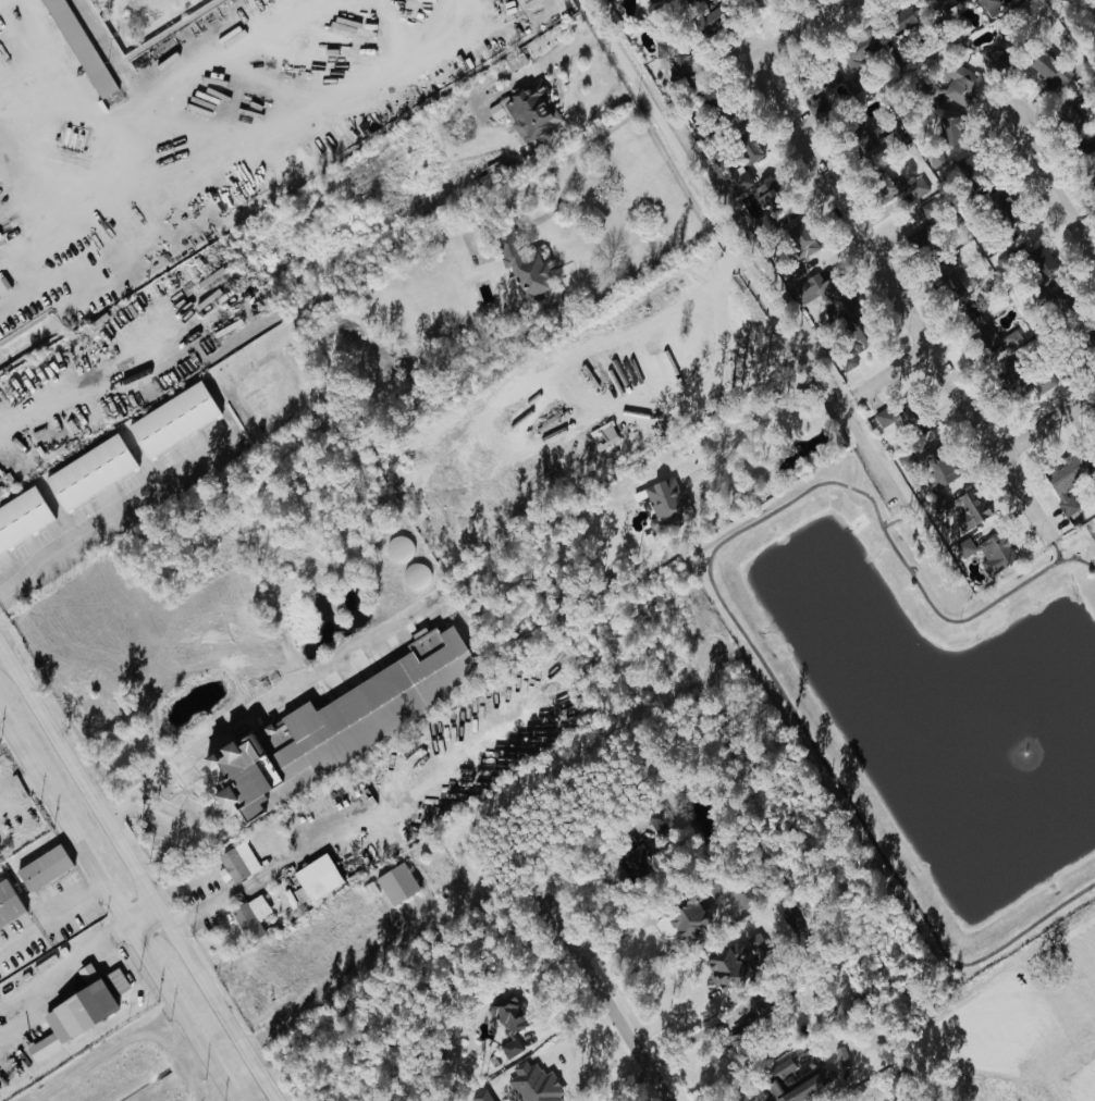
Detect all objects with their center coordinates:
building: (651, 1)
building: (946, 4)
building: (989, 7)
building: (899, 21)
road: (797, 30)
building: (76, 48)
building: (853, 54)
building: (673, 57)
building: (991, 60)
building: (1046, 67)
road: (635, 81)
building: (816, 83)
building: (958, 86)
building: (814, 107)
building: (530, 111)
building: (1069, 122)
building: (942, 139)
building: (861, 140)
building: (741, 169)
road: (575, 182)
building: (886, 182)
building: (918, 185)
road: (1053, 186)
building: (762, 193)
road: (49, 194)
building: (798, 240)
building: (1038, 261)
building: (520, 269)
building: (825, 295)
road: (775, 305)
road: (902, 306)
building: (989, 336)
building: (1022, 378)
road: (897, 380)
road: (766, 419)
building: (170, 420)
road: (1047, 421)
building: (605, 435)
road: (875, 456)
building: (925, 470)
building: (87, 473)
building: (1065, 482)
road: (895, 490)
building: (665, 503)
building: (937, 503)
building: (971, 506)
building: (21, 518)
road: (96, 525)
road: (901, 528)
building: (993, 555)
road: (1060, 558)
road: (742, 621)
park: (928, 701)
road: (236, 717)
building: (339, 721)
fountain: (1028, 749)
building: (657, 819)
road: (334, 836)
building: (632, 858)
building: (235, 863)
building: (40, 868)
road: (90, 869)
road: (137, 873)
building: (394, 883)
building: (315, 886)
building: (738, 893)
building: (8, 903)
building: (688, 915)
building: (248, 917)
road: (50, 918)
building: (755, 945)
road: (88, 947)
building: (726, 965)
road: (17, 1002)
road: (604, 1002)
building: (760, 1006)
building: (73, 1012)
building: (505, 1015)
building: (840, 1056)
road: (210, 1060)
building: (778, 1075)
building: (531, 1085)
building: (480, 1097)

